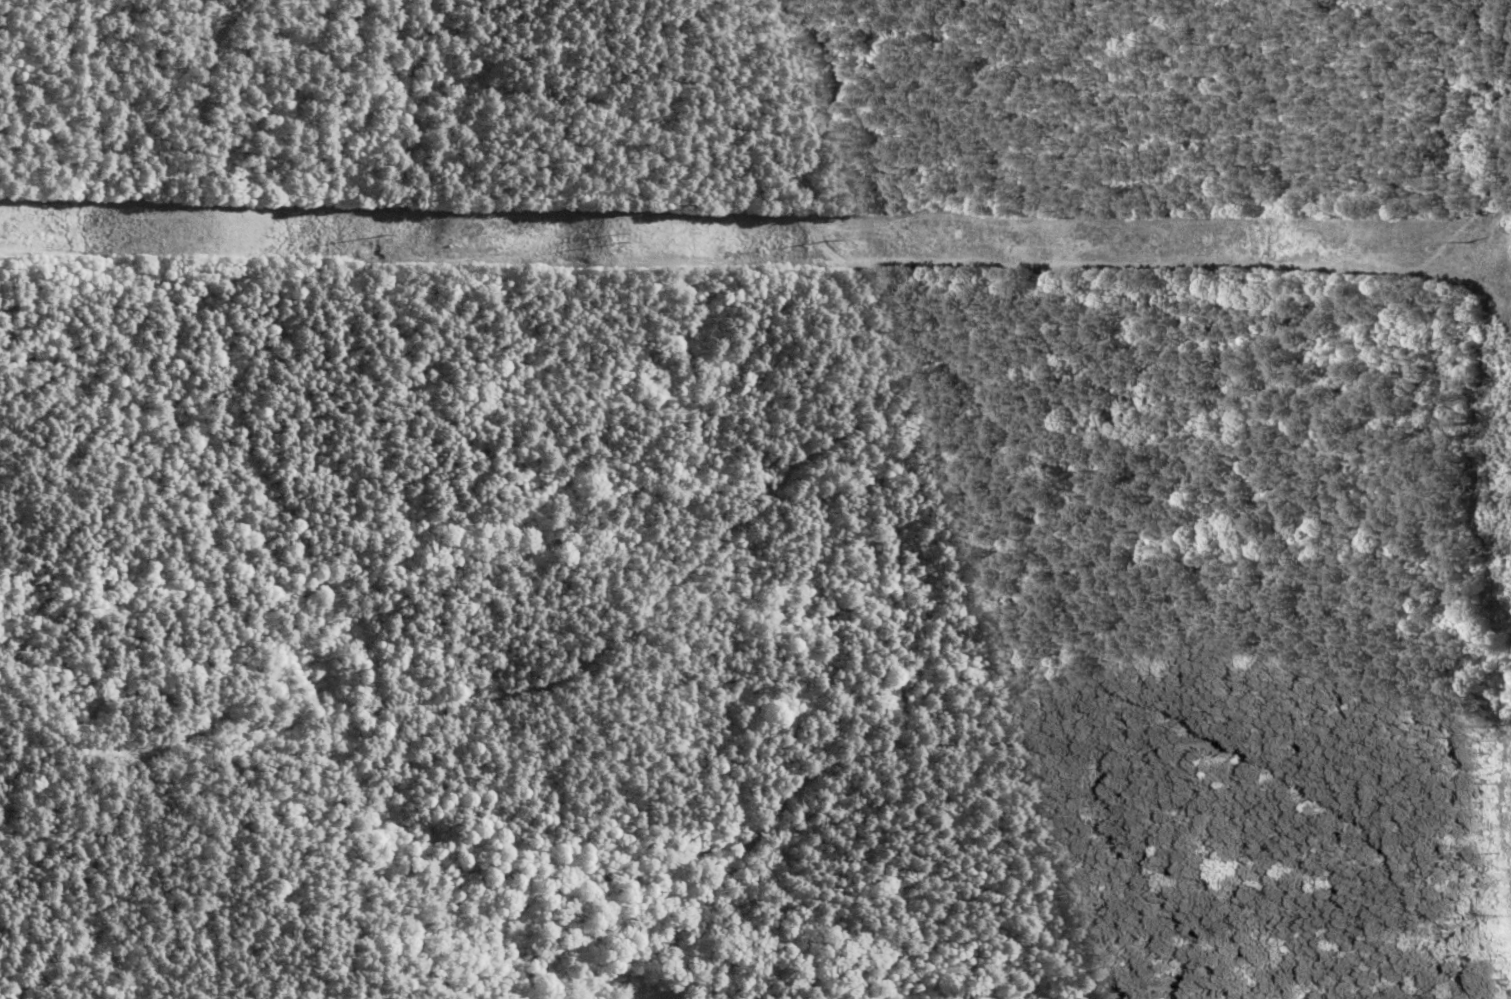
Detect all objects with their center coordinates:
road: (619, 680)
road: (1042, 763)

